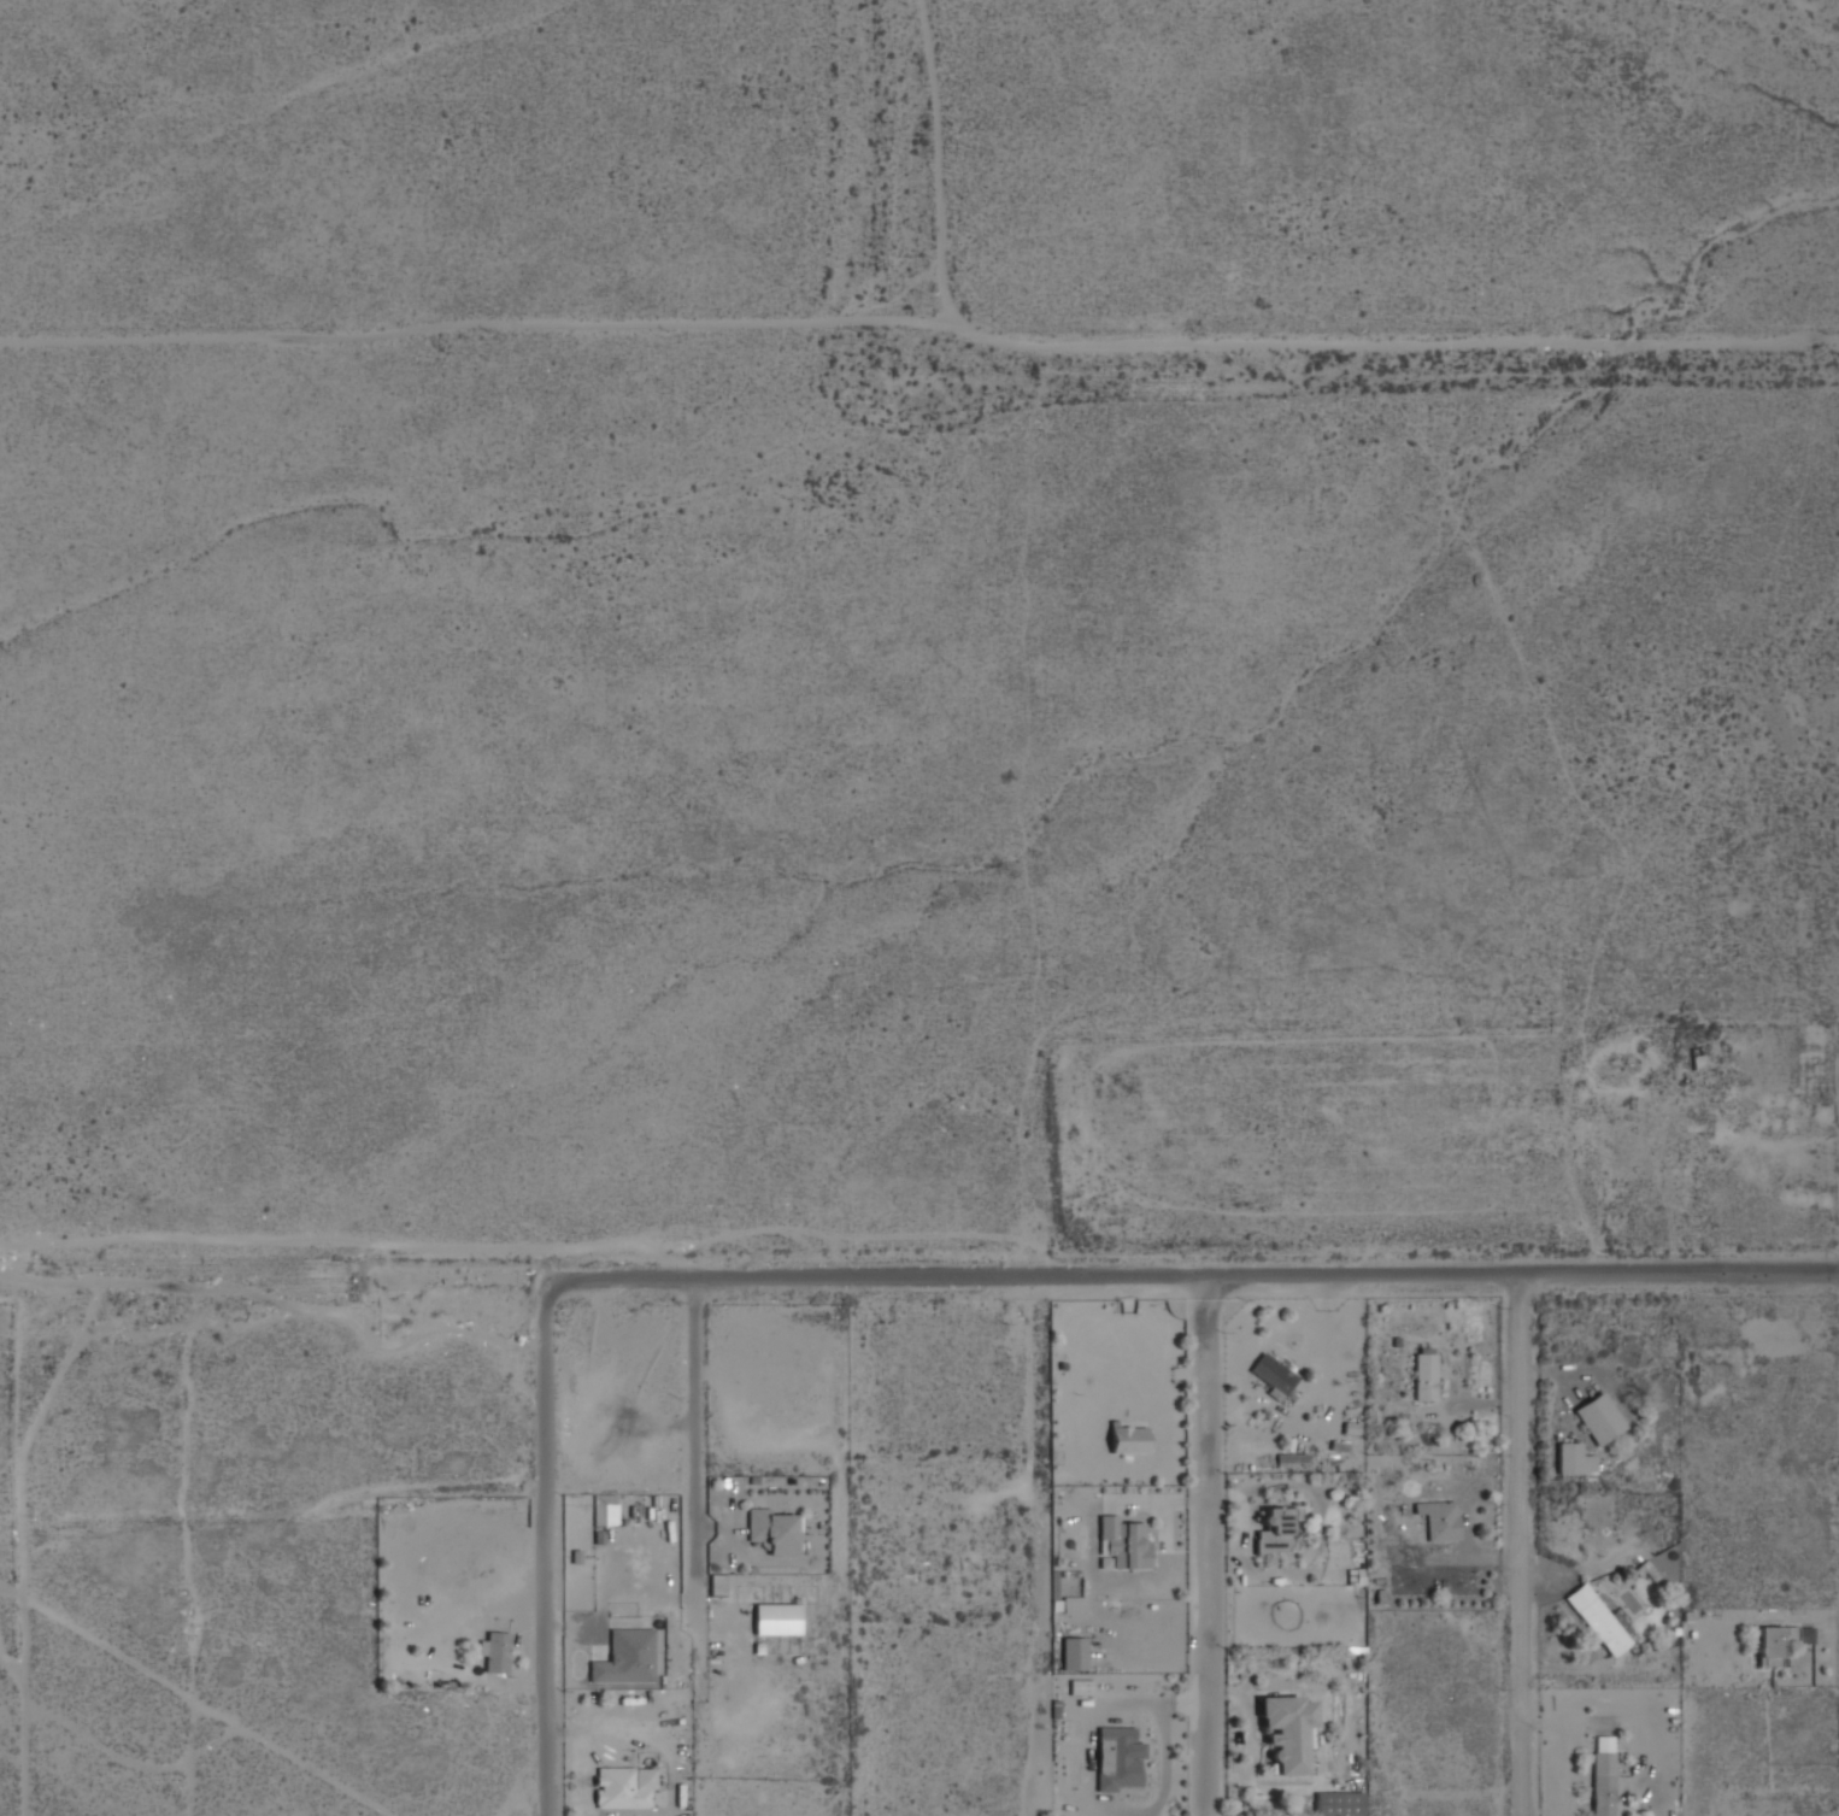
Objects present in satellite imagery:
road: (1198, 1273)
building: (1270, 1375)
building: (1422, 1377)
building: (1597, 1420)
building: (1124, 1441)
road: (703, 1447)
building: (1570, 1461)
building: (604, 1509)
building: (1435, 1521)
building: (769, 1530)
building: (1270, 1532)
road: (553, 1541)
building: (1120, 1544)
road: (1204, 1544)
road: (1515, 1544)
building: (1073, 1604)
building: (772, 1618)
building: (1594, 1620)
building: (1774, 1641)
building: (494, 1651)
building: (1070, 1653)
building: (1781, 1656)
building: (623, 1658)
building: (1079, 1688)
building: (1282, 1732)
building: (1115, 1759)
building: (1602, 1776)
building: (615, 1789)
building: (1335, 1804)
building: (1641, 1814)

